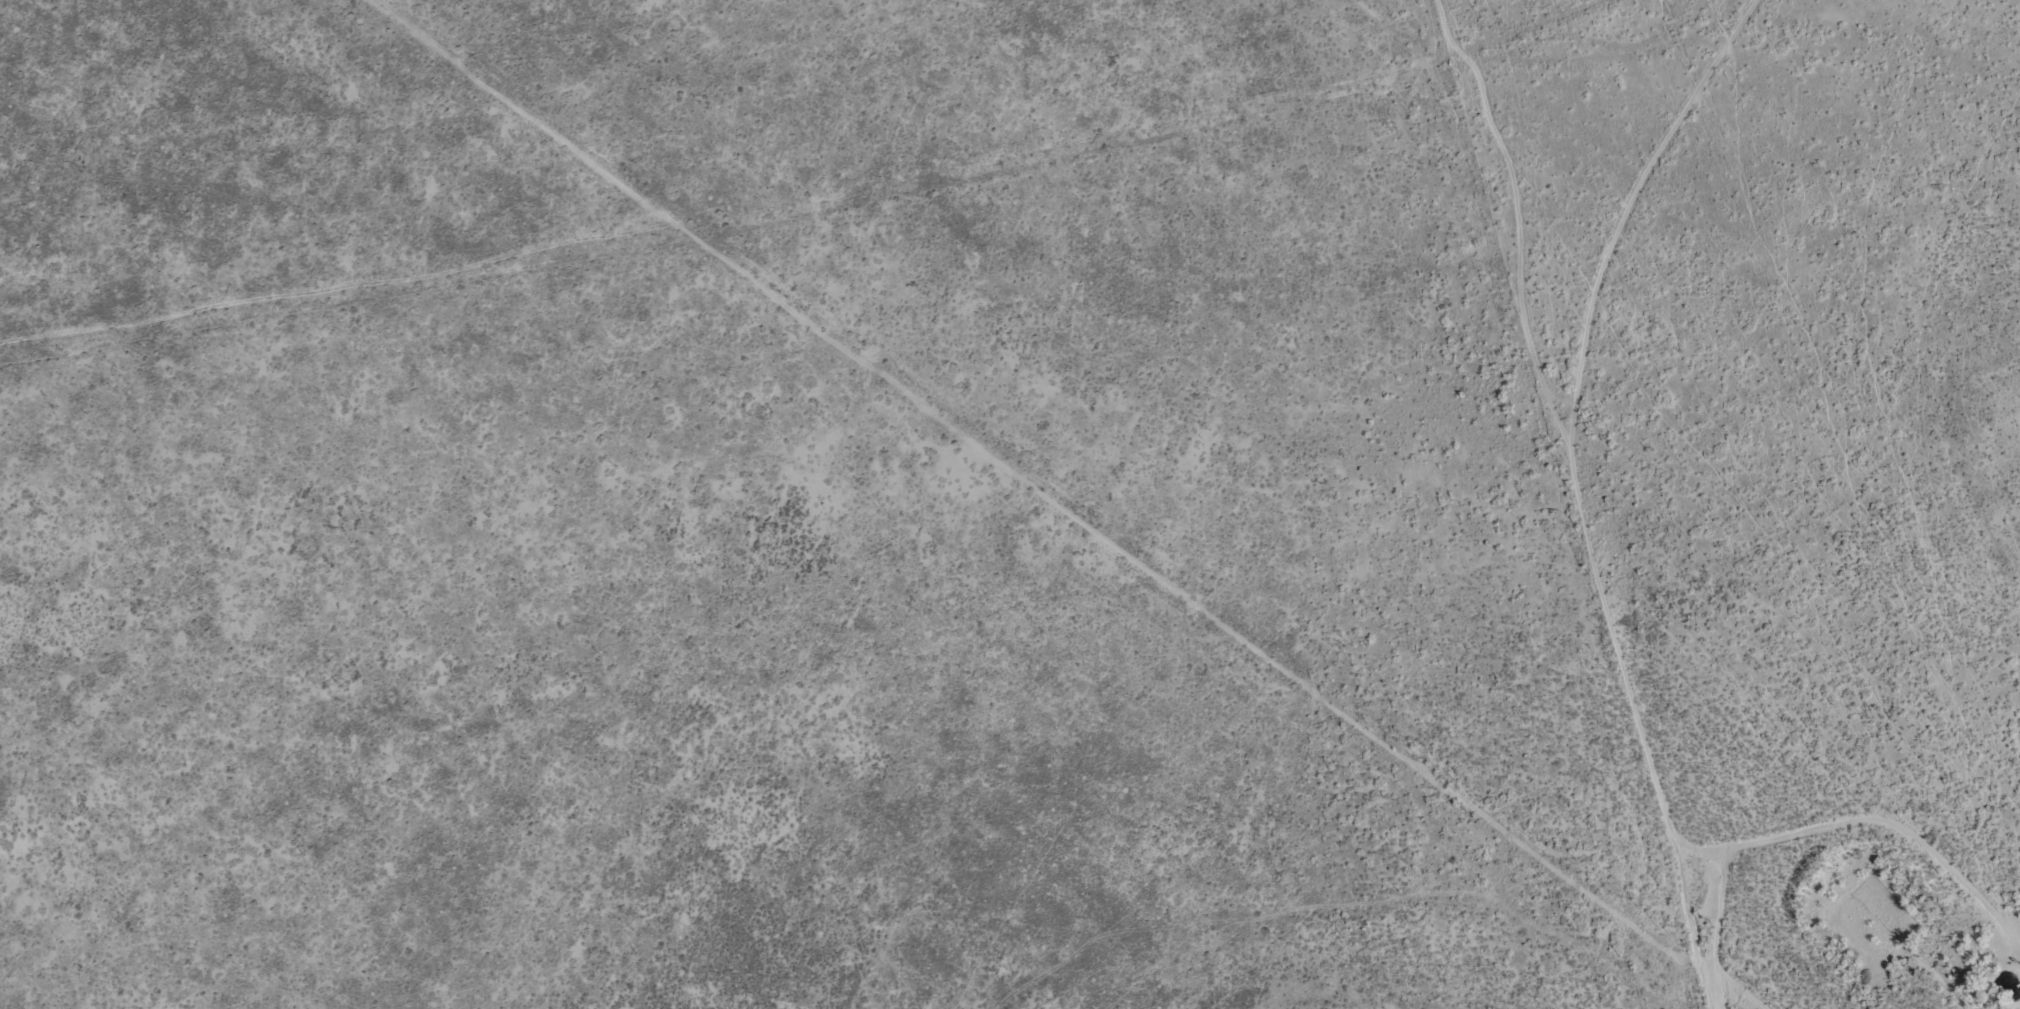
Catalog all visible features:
road: (723, 165)
road: (1609, 490)

